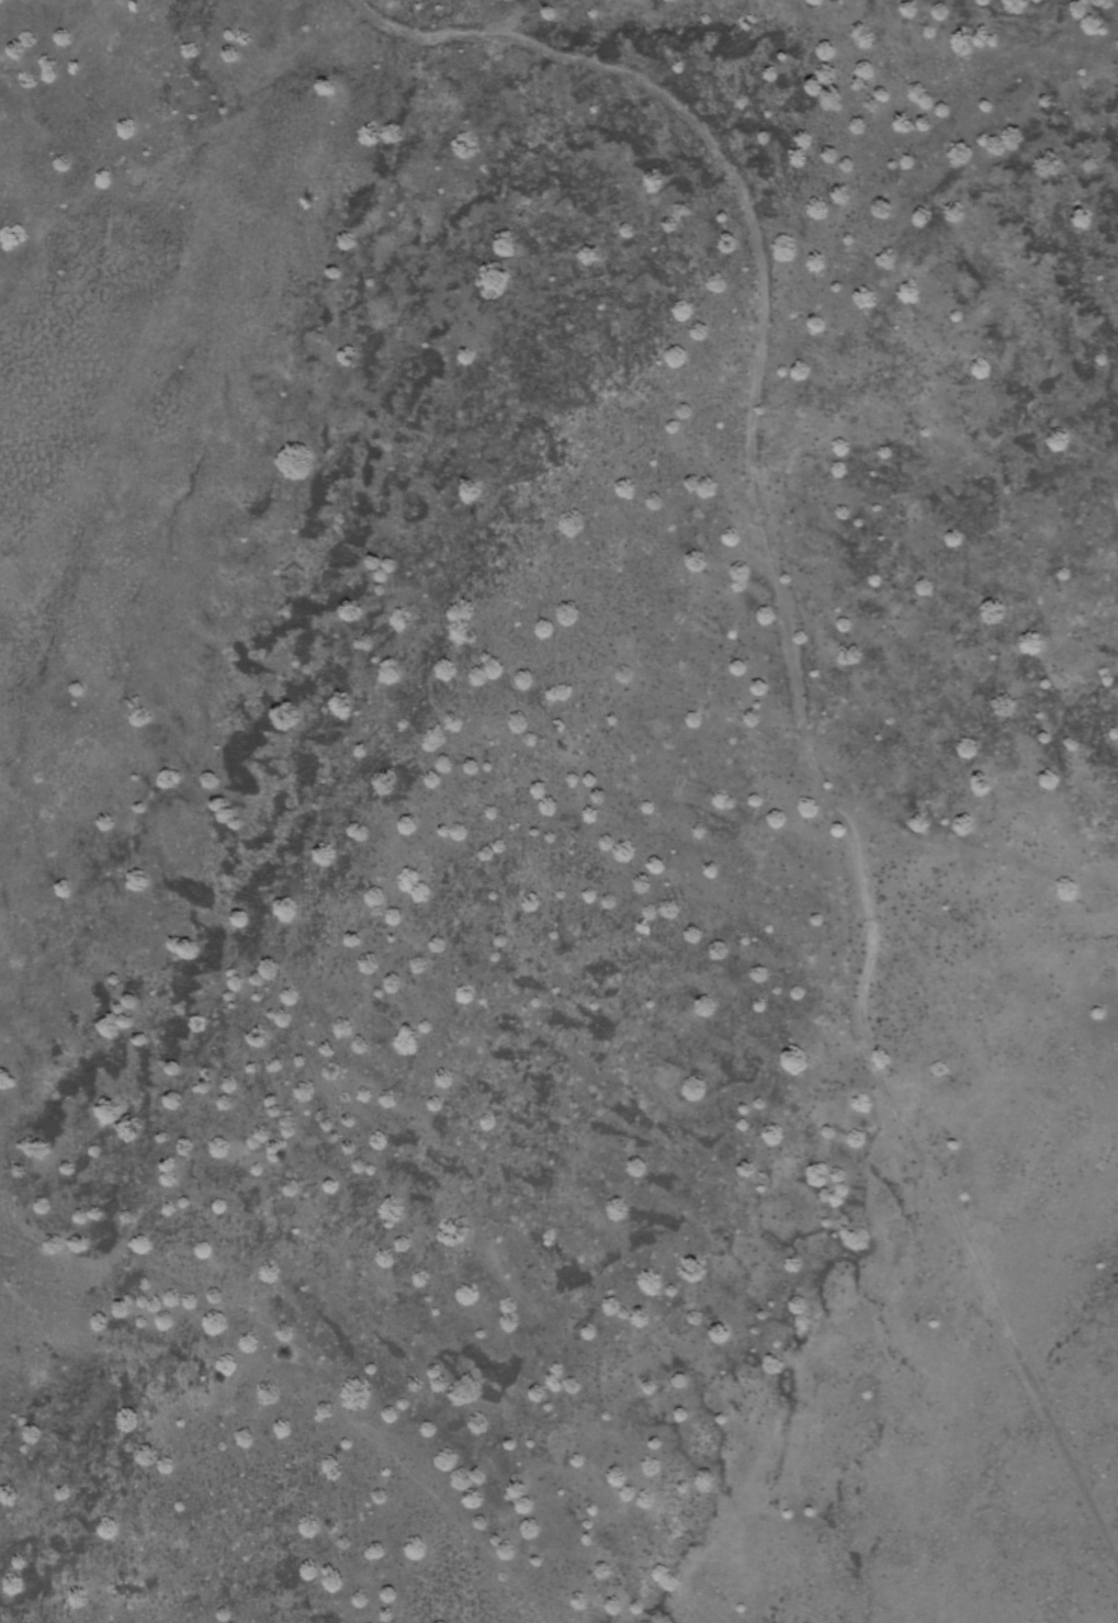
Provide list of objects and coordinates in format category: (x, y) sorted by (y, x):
road: (799, 676)

